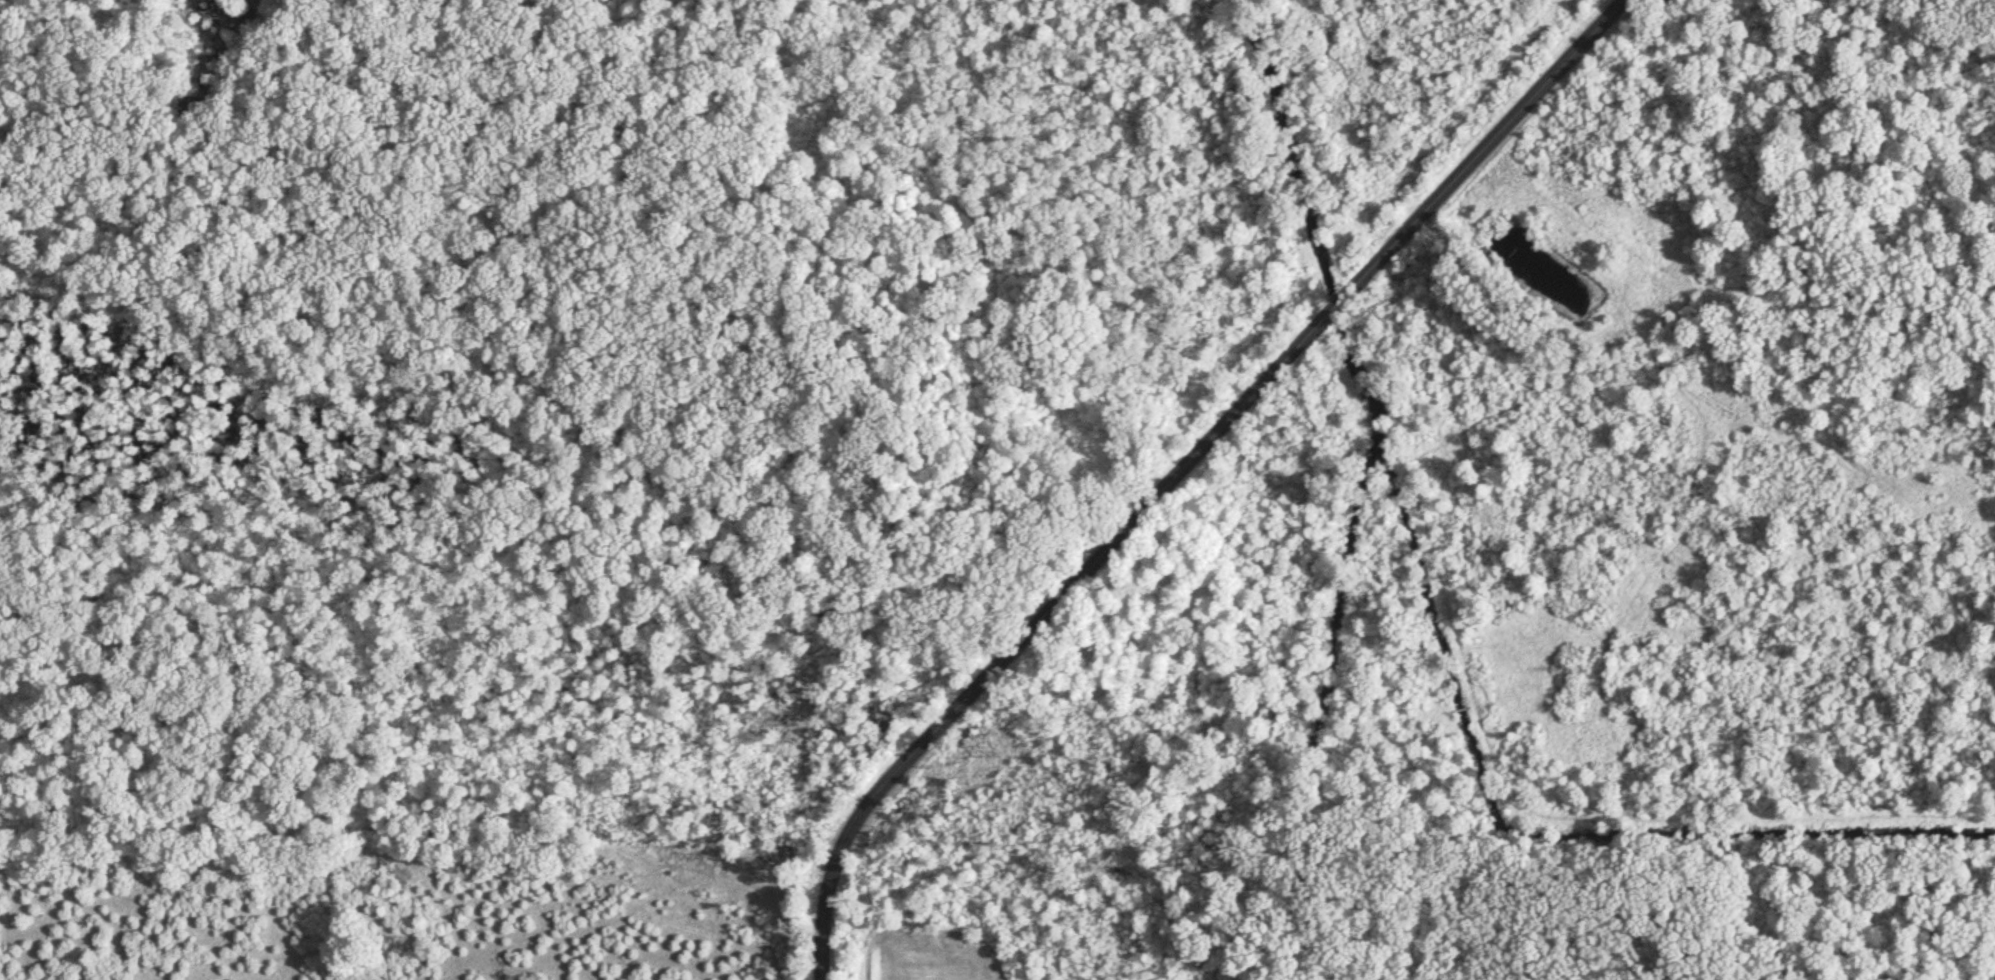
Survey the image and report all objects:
road: (1047, 376)
road: (1188, 469)

